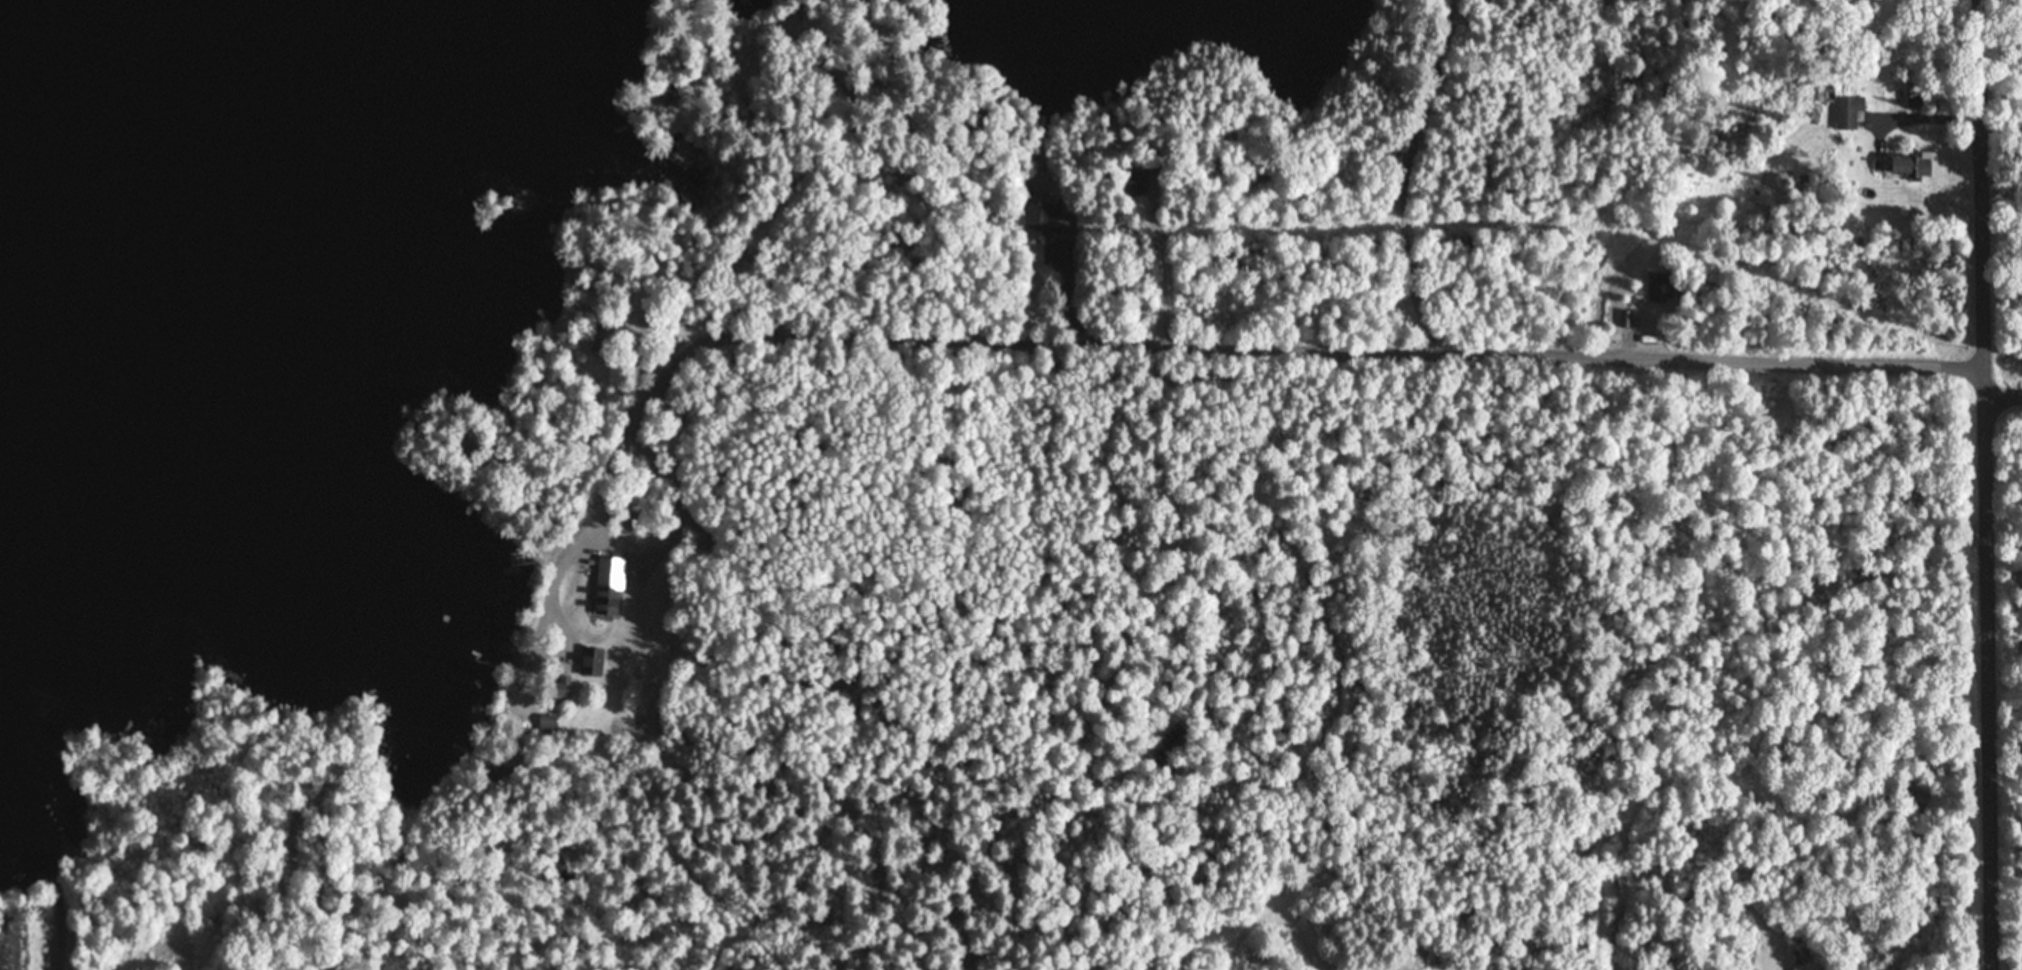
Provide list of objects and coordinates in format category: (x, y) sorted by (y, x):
building: (1826, 95)
building: (1914, 98)
building: (1850, 113)
building: (1914, 167)
road: (1369, 174)
building: (1134, 180)
road: (888, 198)
building: (1049, 220)
building: (1660, 291)
building: (645, 318)
building: (602, 340)
road: (1110, 340)
road: (2003, 367)
road: (1988, 484)
building: (648, 604)
building: (592, 662)
building: (562, 687)
building: (548, 723)
road: (67, 940)

